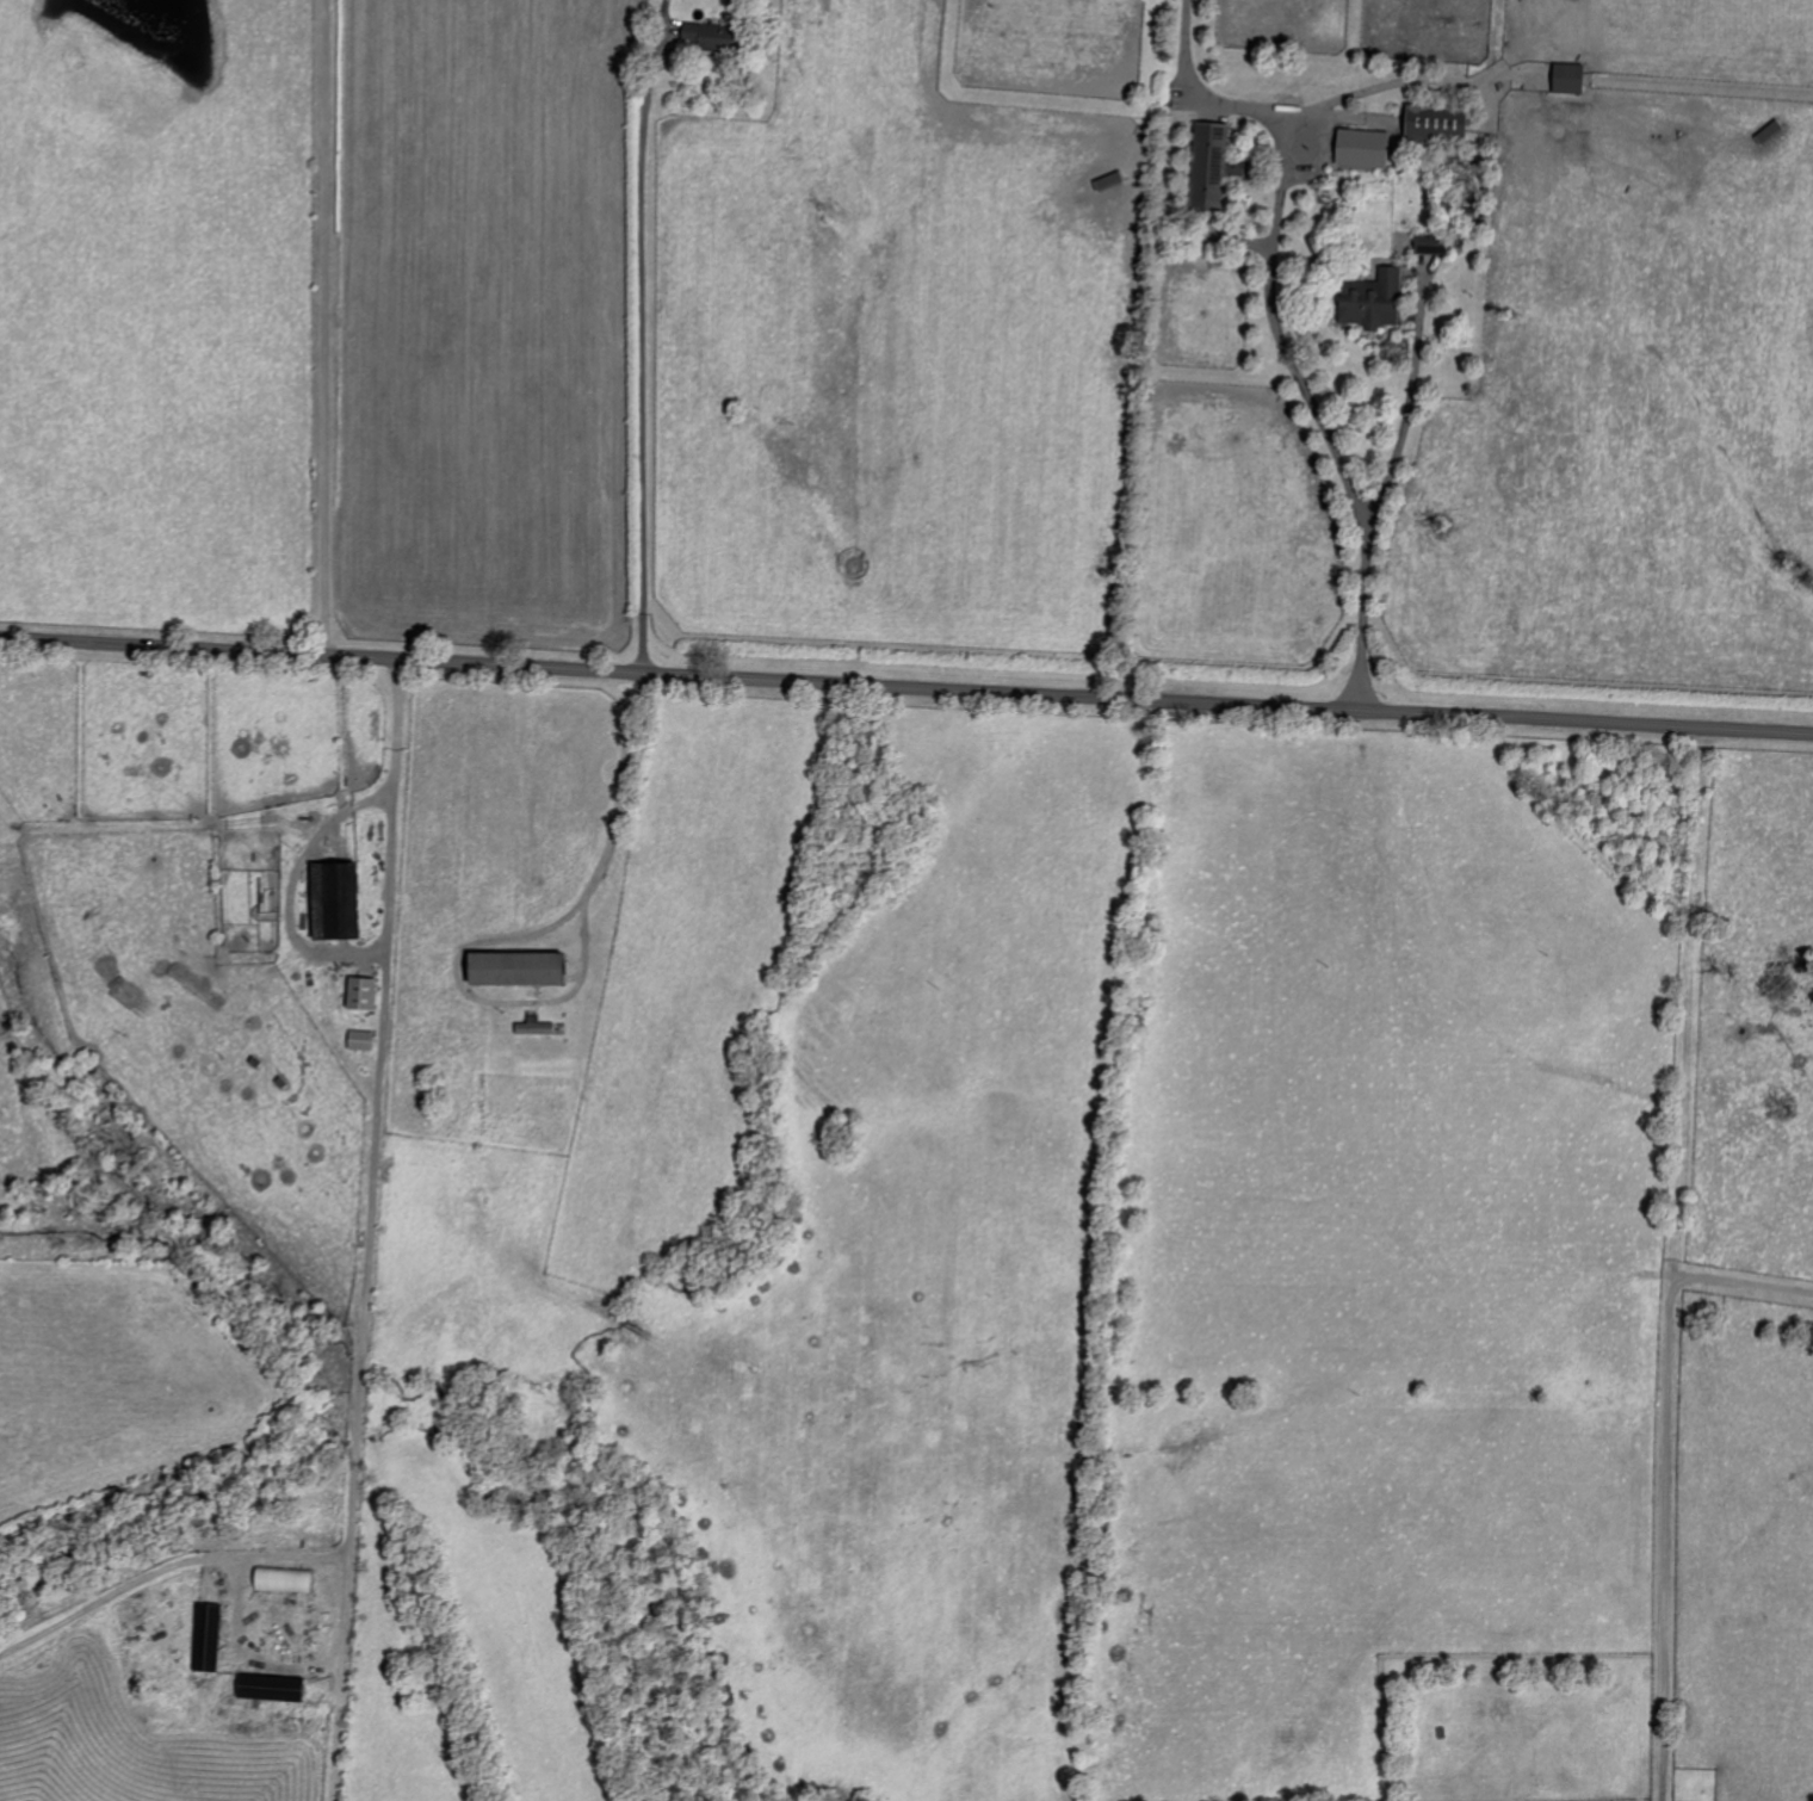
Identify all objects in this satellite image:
building: (703, 37)
road: (1316, 112)
building: (1433, 126)
building: (1359, 148)
building: (1205, 167)
building: (1429, 245)
building: (1372, 302)
road: (324, 328)
road: (1280, 328)
road: (643, 335)
road: (1409, 400)
road: (905, 687)
road: (620, 782)
building: (330, 899)
building: (509, 967)
building: (359, 992)
building: (358, 1040)
road: (361, 1288)
road: (1663, 1477)
building: (205, 1640)
building: (267, 1688)

